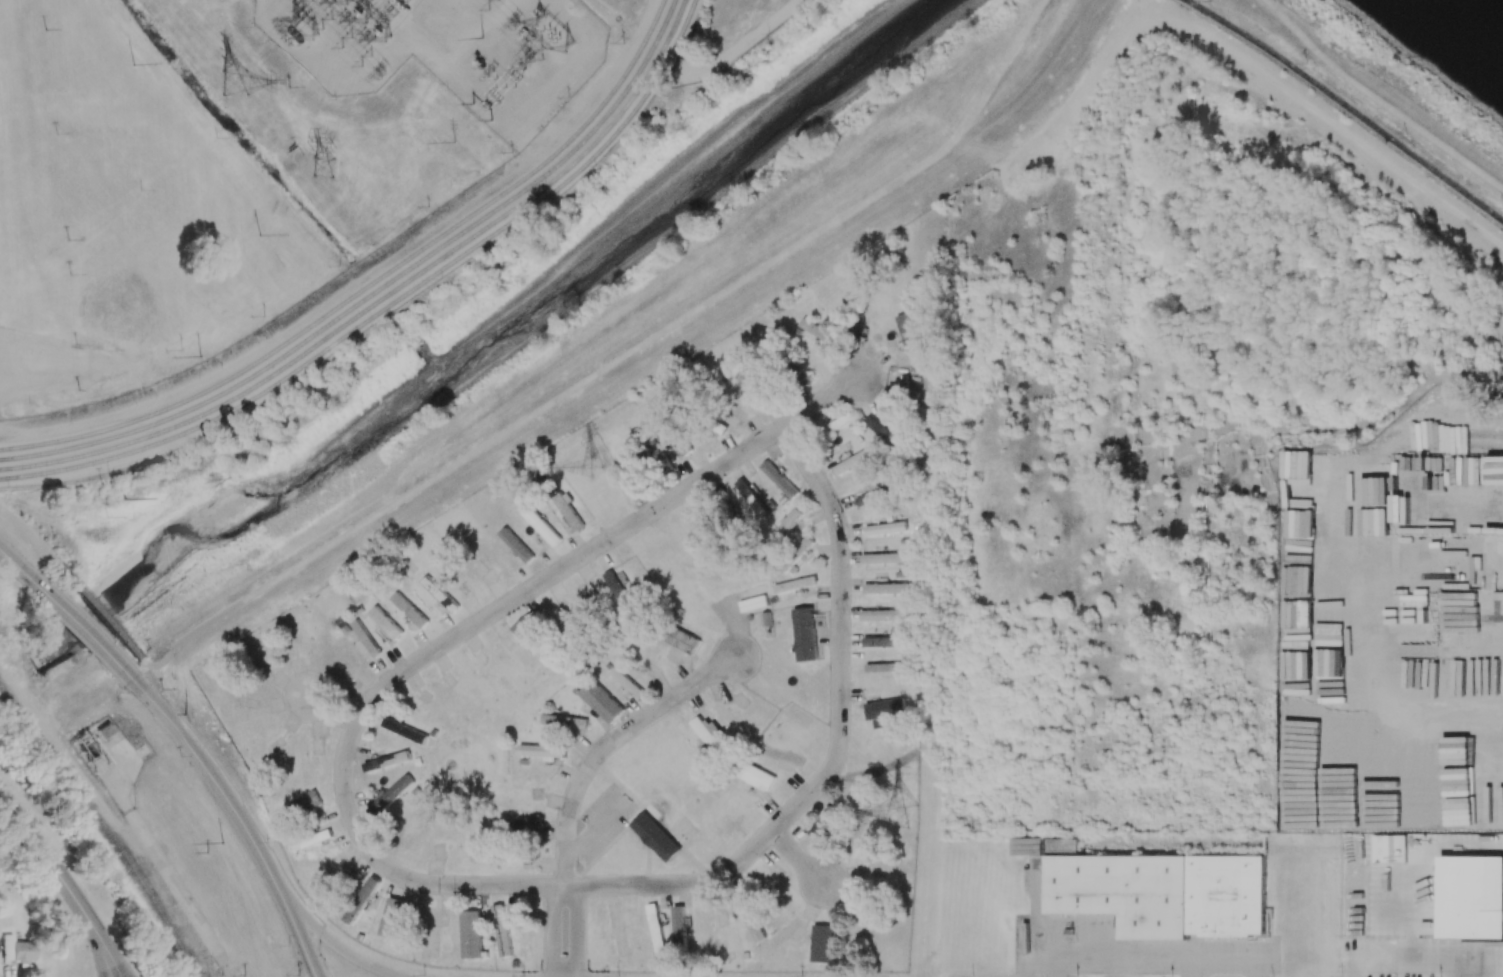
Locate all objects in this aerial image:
power tower: (575, 21)
power tower: (296, 38)
power substation: (450, 51)
power tower: (133, 65)
power tower: (236, 84)
road: (1379, 99)
railway: (1348, 105)
power tower: (321, 167)
power tower: (259, 235)
railway: (372, 284)
railway: (379, 290)
park: (130, 297)
railway: (386, 297)
railway: (392, 304)
building: (817, 330)
building: (909, 332)
power tower: (198, 355)
road: (623, 358)
road: (823, 402)
building: (840, 421)
building: (882, 432)
building: (650, 442)
building: (854, 460)
power tower: (590, 468)
building: (779, 479)
building: (875, 496)
building: (751, 497)
power tower: (125, 499)
building: (569, 511)
building: (788, 523)
building: (541, 526)
building: (885, 528)
road: (29, 537)
building: (516, 545)
building: (804, 545)
building: (884, 558)
road: (576, 562)
road: (14, 565)
building: (795, 584)
building: (886, 588)
building: (617, 589)
building: (439, 593)
building: (408, 610)
road: (97, 613)
building: (885, 615)
building: (385, 622)
road: (83, 632)
building: (528, 634)
building: (805, 634)
building: (363, 639)
building: (682, 640)
building: (882, 642)
road: (145, 665)
building: (882, 667)
building: (626, 682)
building: (601, 701)
building: (884, 708)
road: (331, 709)
power tower: (184, 714)
building: (563, 721)
building: (403, 730)
building: (706, 735)
road: (608, 745)
building: (542, 751)
building: (386, 761)
building: (757, 777)
building: (390, 796)
road: (242, 801)
building: (300, 806)
power tower: (899, 813)
road: (242, 821)
building: (529, 822)
building: (824, 823)
railway: (105, 826)
building: (857, 830)
building: (655, 836)
building: (315, 838)
power tower: (220, 844)
building: (1042, 849)
road: (802, 860)
road: (715, 878)
road: (64, 882)
building: (367, 889)
building: (1163, 893)
building: (1471, 895)
building: (392, 917)
building: (749, 917)
building: (678, 924)
building: (656, 928)
building: (502, 929)
road: (556, 931)
road: (580, 932)
building: (471, 934)
road: (323, 935)
building: (821, 943)
building: (16, 951)

